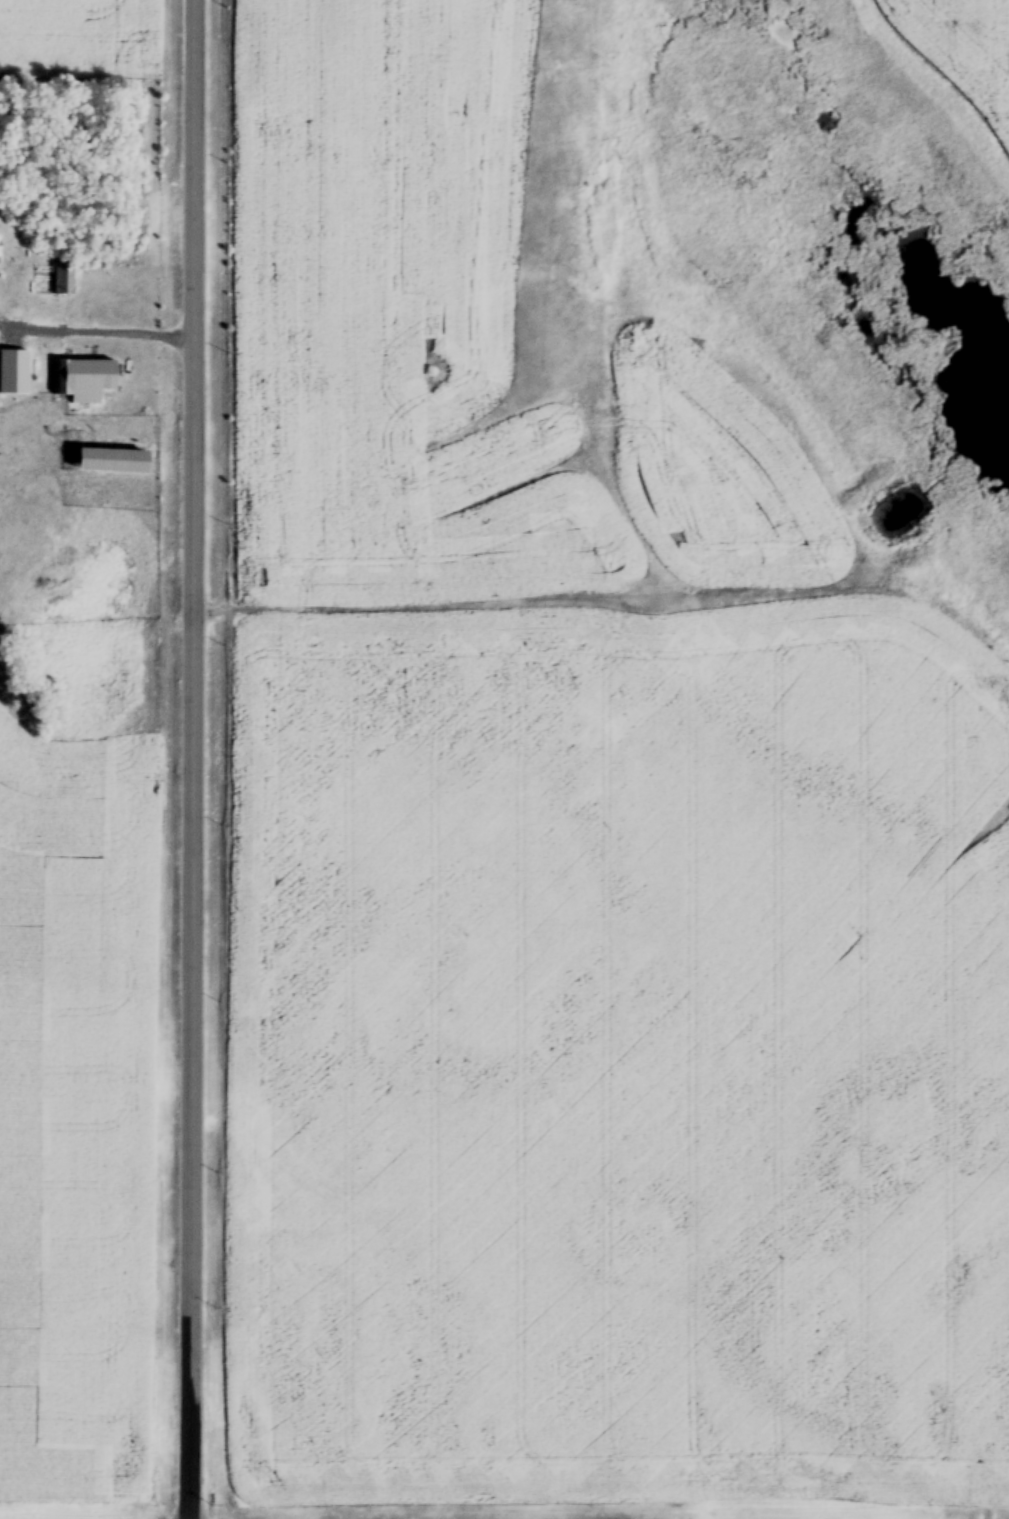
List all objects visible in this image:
building: (63, 281)
road: (97, 323)
building: (13, 374)
building: (82, 382)
building: (116, 463)
road: (192, 759)

